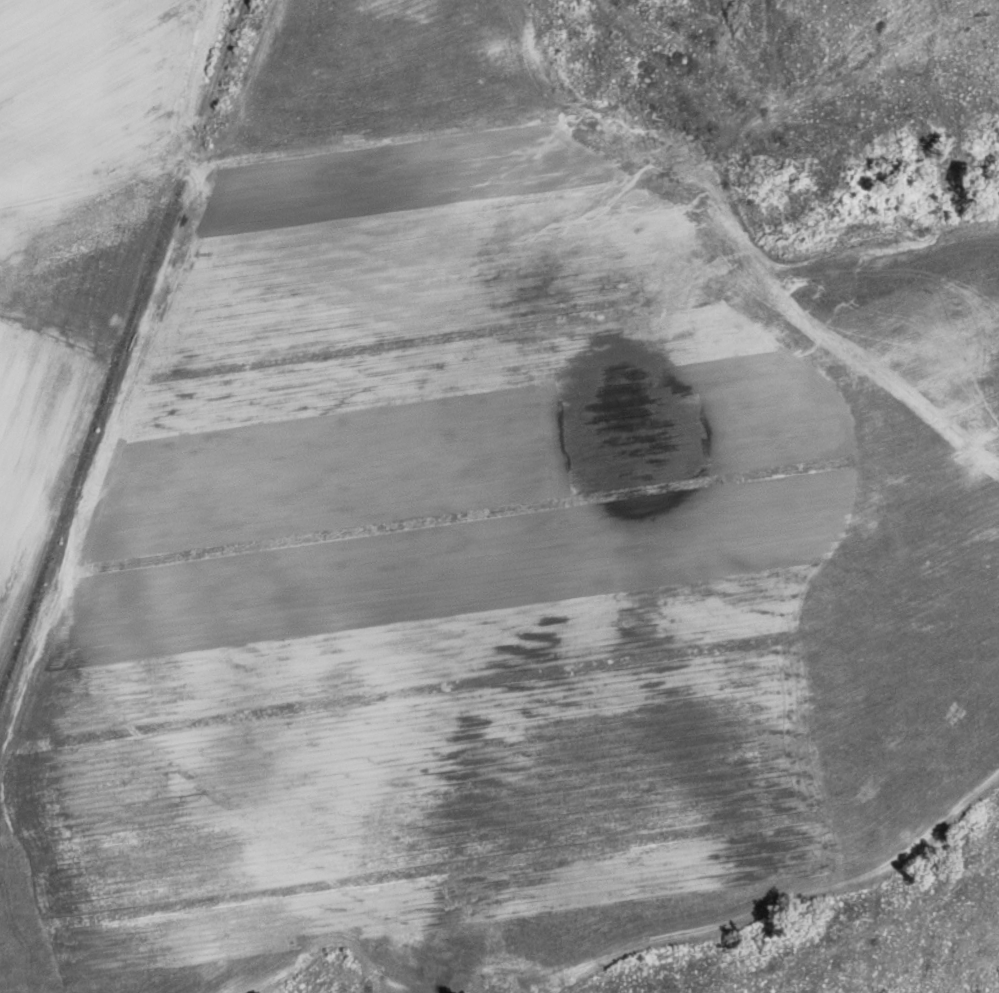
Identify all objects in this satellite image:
railway: (117, 342)

